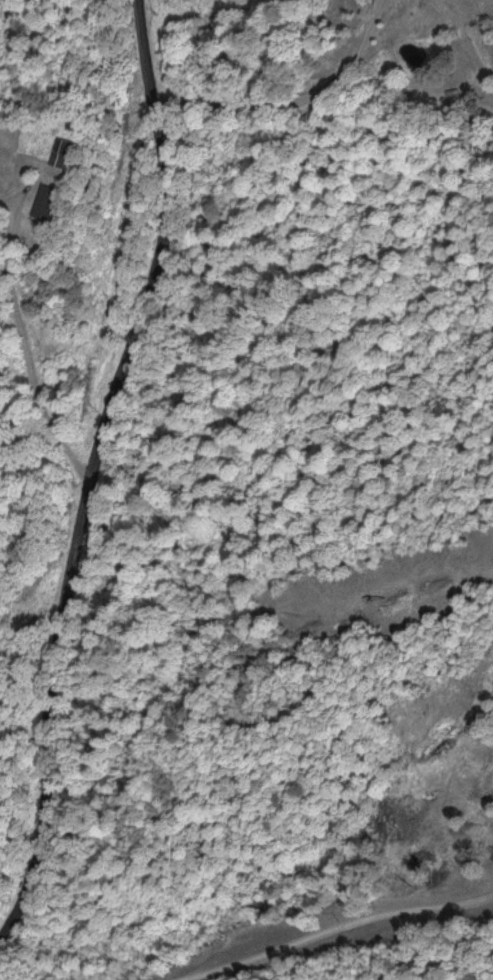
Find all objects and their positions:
building: (57, 151)
building: (43, 203)
road: (97, 467)

